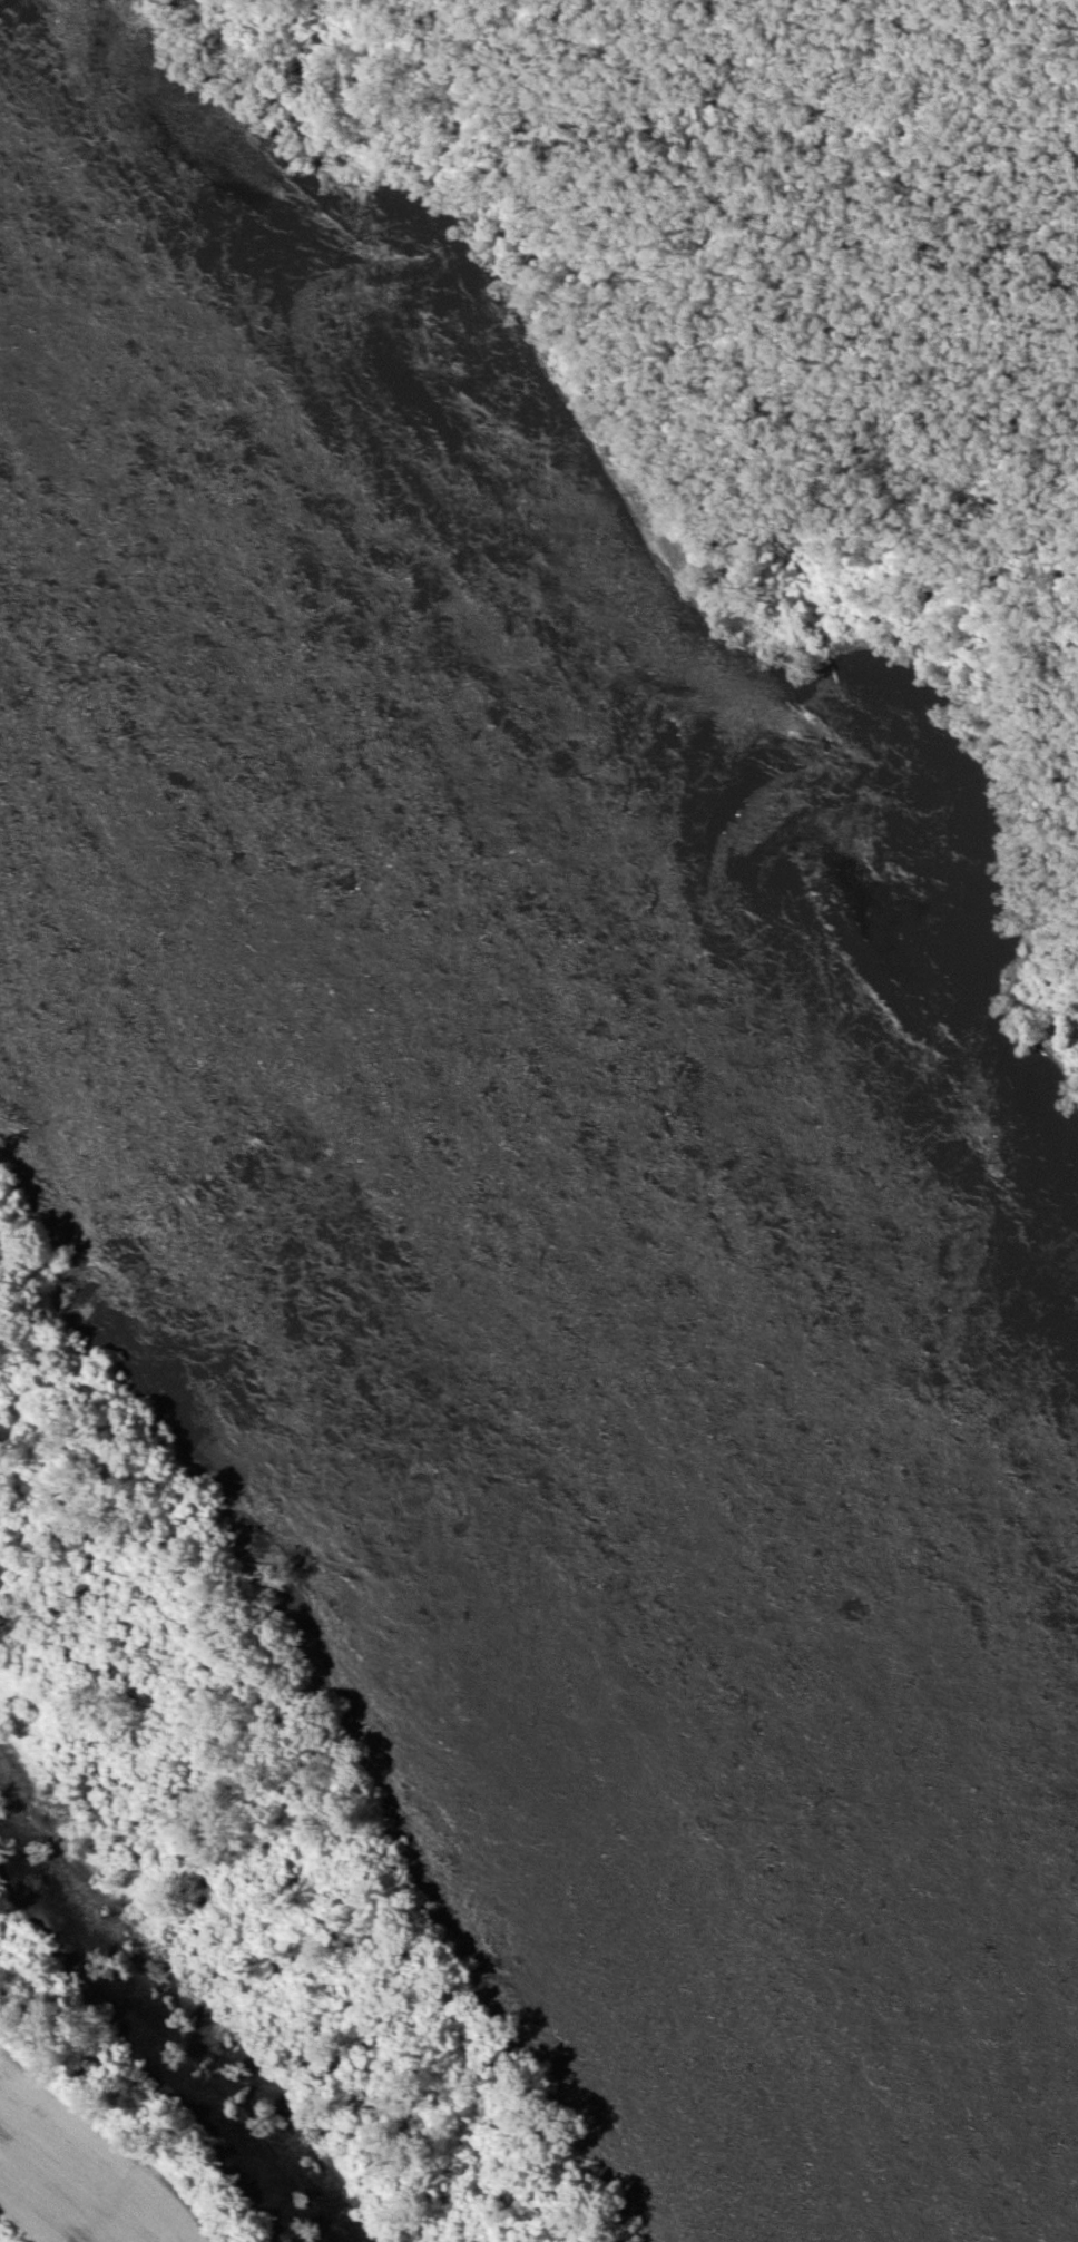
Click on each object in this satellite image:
road: (1070, 1172)
river: (633, 1337)
crop: (77, 2170)

